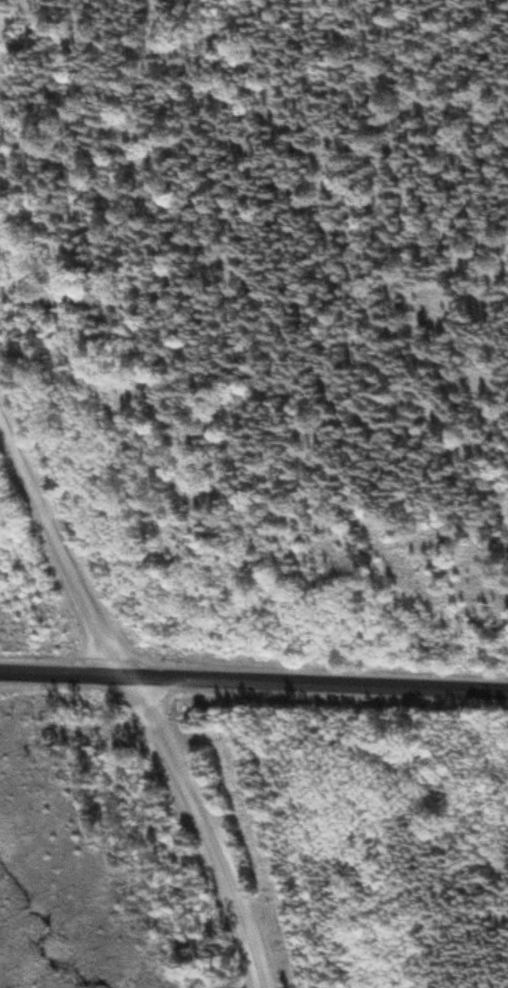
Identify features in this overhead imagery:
road: (253, 682)
road: (135, 697)

